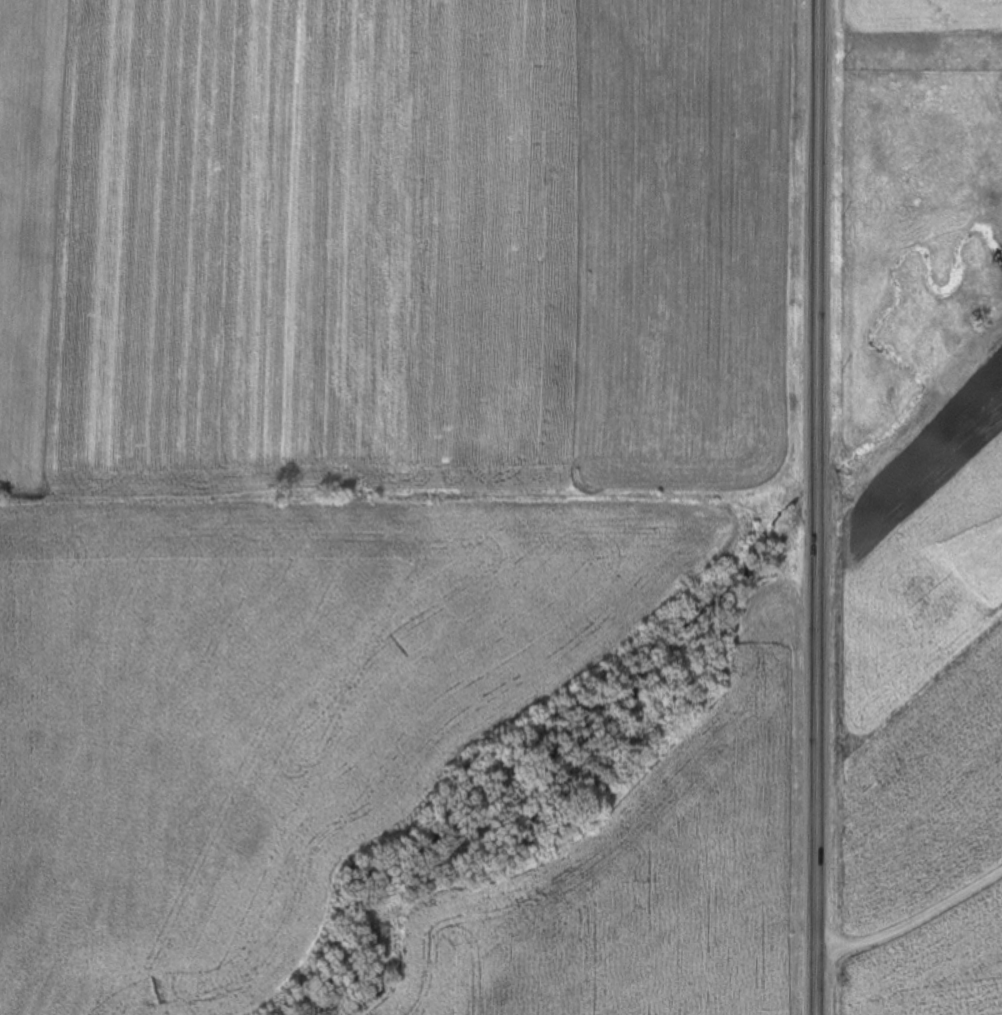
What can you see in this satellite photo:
road: (815, 507)
road: (908, 819)
road: (912, 923)

